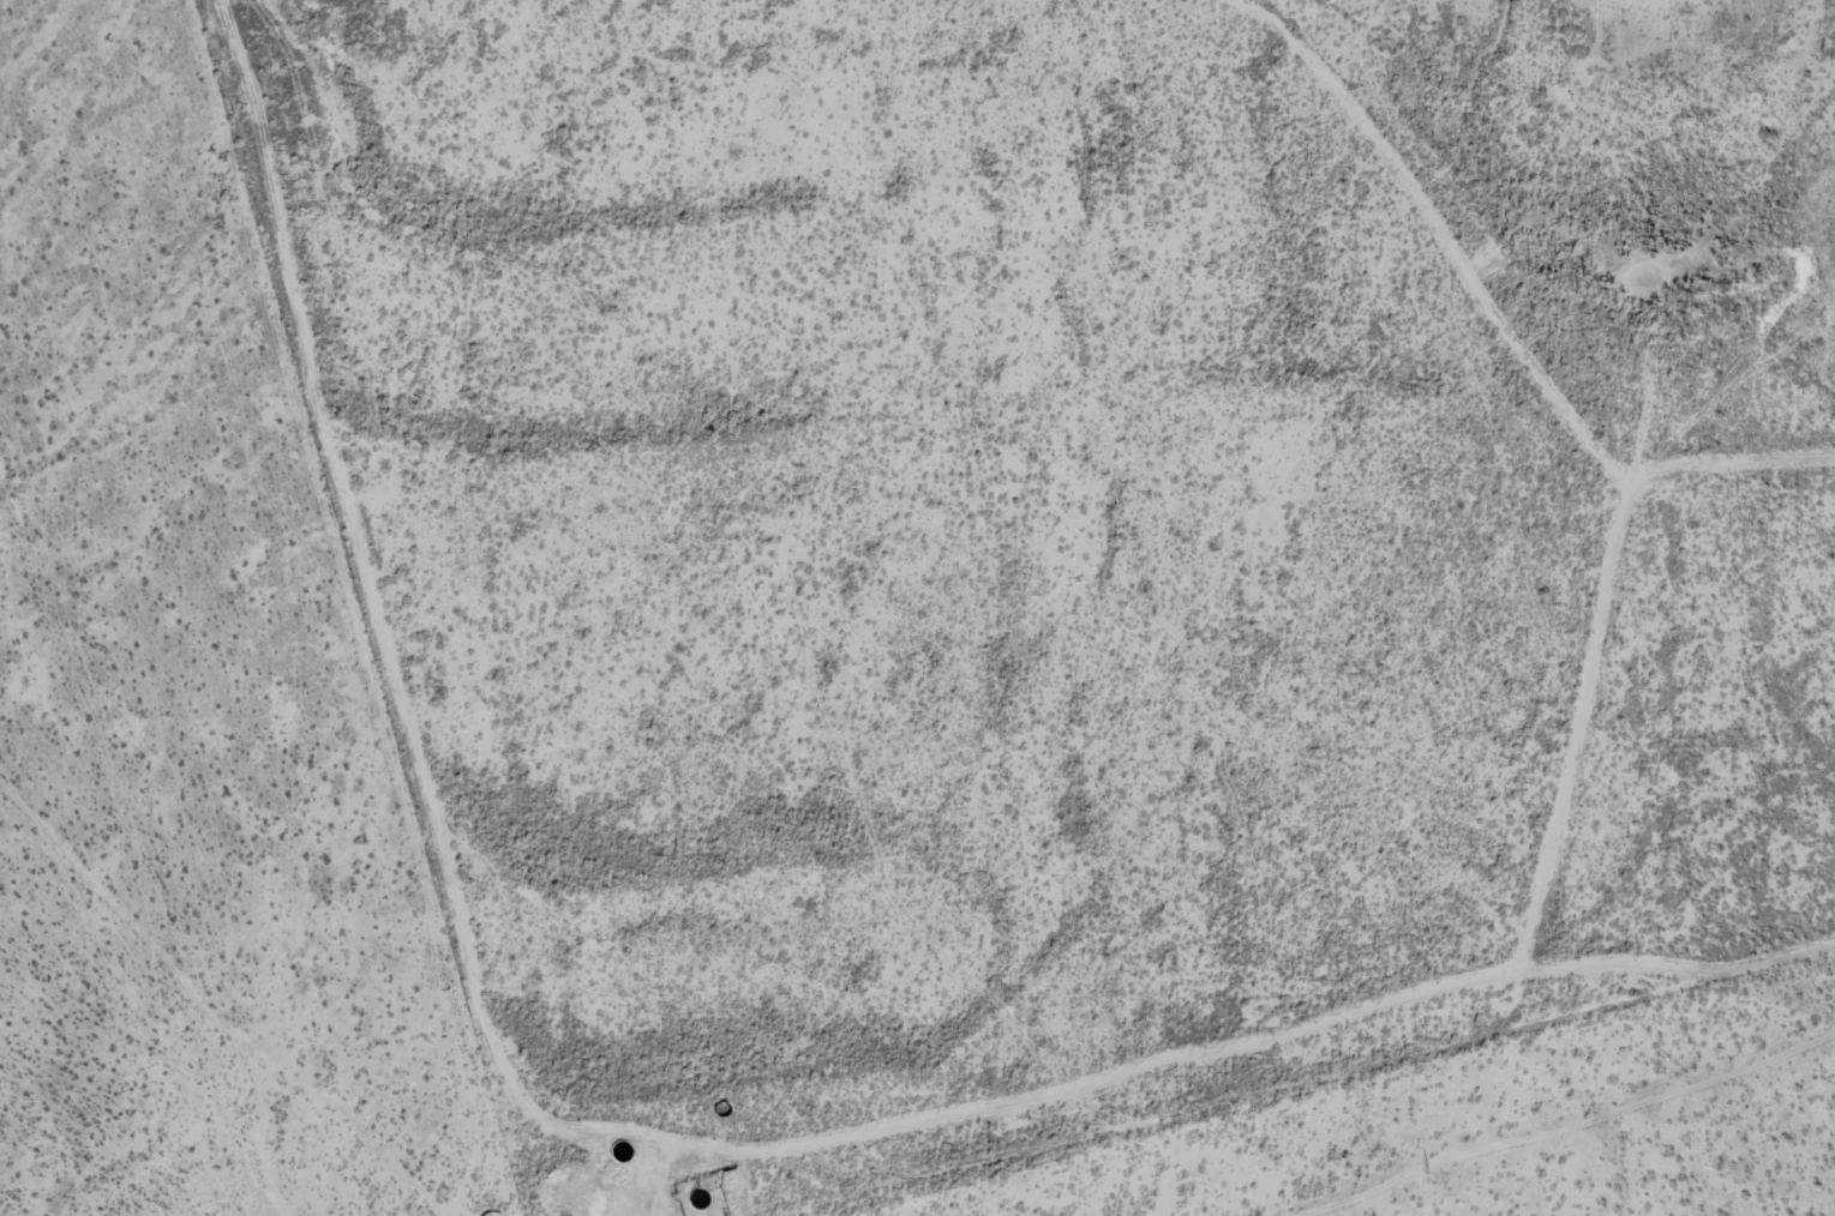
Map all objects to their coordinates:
power tower: (1423, 1176)

